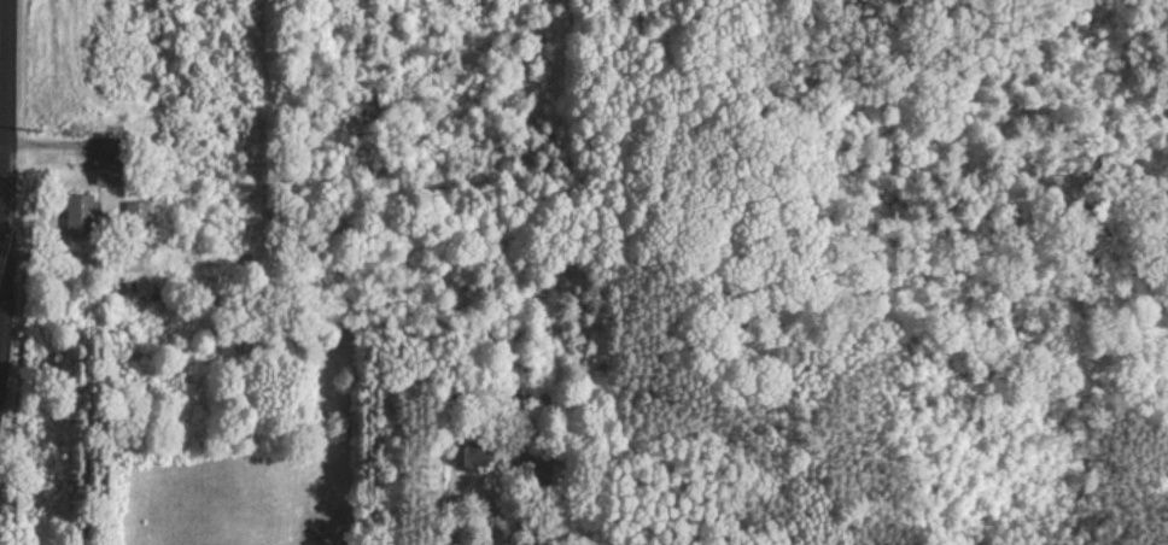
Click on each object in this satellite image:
building: (112, 172)
road: (12, 203)
building: (80, 215)
building: (138, 217)
road: (6, 263)

